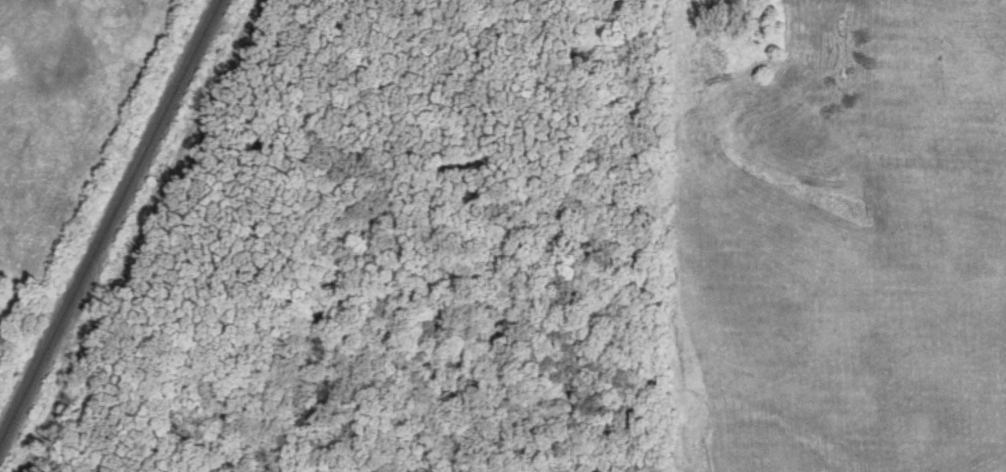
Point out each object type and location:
railway: (109, 222)

